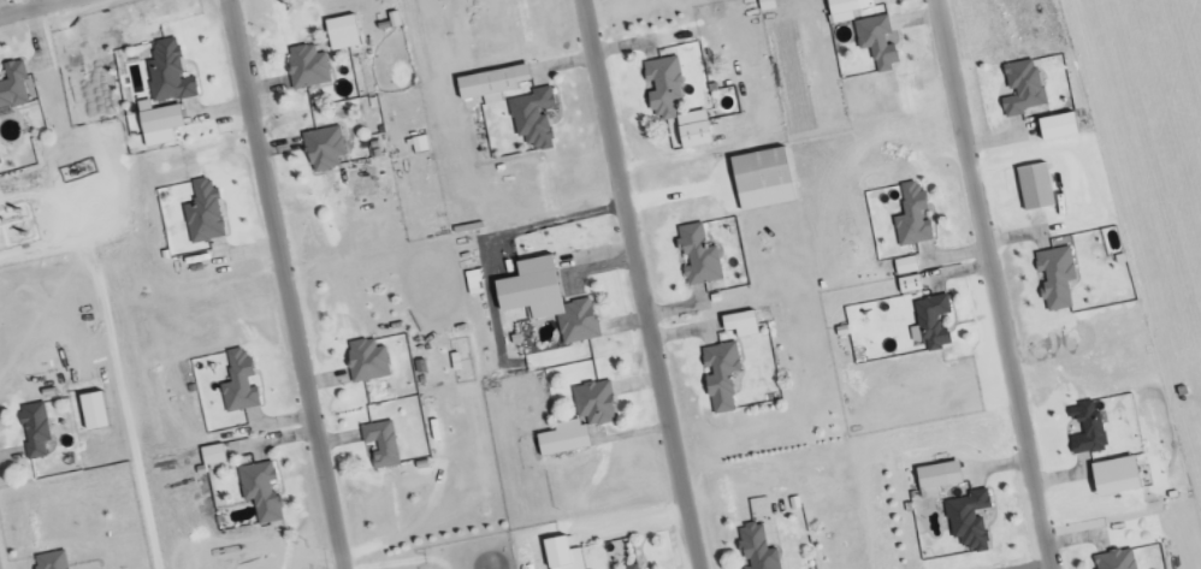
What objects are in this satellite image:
road: (26, 7)
building: (844, 10)
building: (341, 34)
building: (875, 41)
building: (307, 67)
building: (167, 75)
building: (499, 83)
building: (12, 87)
building: (662, 87)
building: (1022, 89)
building: (532, 118)
building: (156, 124)
building: (1055, 126)
building: (691, 130)
building: (324, 149)
building: (761, 179)
building: (1033, 188)
building: (203, 214)
building: (911, 217)
building: (698, 256)
building: (904, 266)
building: (1054, 277)
road: (288, 284)
road: (639, 284)
road: (994, 284)
building: (909, 285)
building: (545, 300)
building: (930, 321)
building: (739, 324)
building: (366, 361)
building: (720, 377)
building: (238, 384)
building: (593, 404)
building: (34, 431)
building: (1087, 431)
building: (562, 439)
building: (380, 445)
building: (211, 456)
building: (1085, 467)
building: (1113, 478)
building: (935, 479)
building: (259, 492)
building: (968, 520)
building: (756, 549)
building: (560, 555)
building: (51, 561)
building: (1116, 561)
building: (629, 568)

